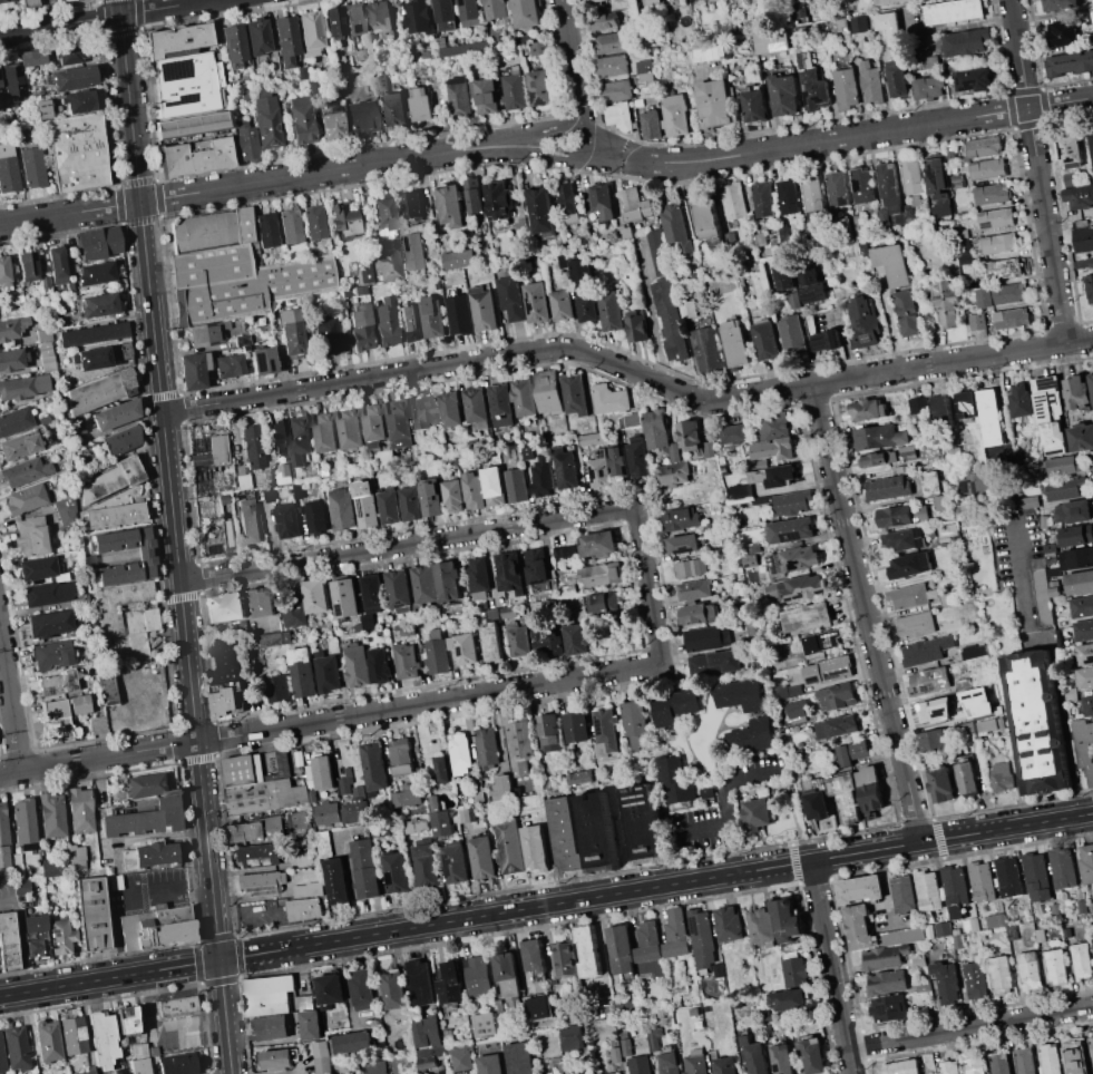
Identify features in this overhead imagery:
building: (4, 0)
building: (61, 0)
building: (699, 0)
building: (849, 0)
building: (595, 1)
building: (652, 1)
building: (889, 1)
building: (28, 3)
building: (1060, 4)
building: (801, 8)
building: (495, 9)
building: (954, 10)
building: (470, 12)
building: (526, 12)
building: (446, 14)
road: (105, 17)
building: (1090, 17)
building: (420, 18)
building: (606, 20)
building: (333, 21)
building: (352, 21)
building: (382, 22)
building: (840, 25)
building: (859, 25)
building: (890, 27)
building: (801, 29)
building: (311, 32)
building: (1064, 32)
building: (257, 37)
building: (177, 40)
building: (286, 40)
building: (525, 40)
building: (441, 41)
building: (611, 41)
building: (777, 41)
building: (965, 42)
building: (233, 45)
building: (538, 47)
building: (463, 48)
building: (72, 53)
building: (709, 53)
building: (358, 55)
building: (426, 55)
building: (411, 57)
building: (32, 58)
road: (569, 59)
building: (804, 59)
building: (931, 61)
building: (1070, 62)
building: (612, 65)
building: (402, 68)
building: (646, 71)
building: (72, 78)
building: (899, 79)
building: (975, 79)
building: (10, 81)
building: (386, 82)
building: (872, 82)
building: (187, 86)
building: (313, 87)
building: (541, 87)
building: (930, 87)
building: (847, 88)
building: (369, 89)
building: (516, 89)
building: (615, 90)
building: (816, 90)
building: (785, 94)
building: (487, 95)
building: (245, 96)
building: (461, 98)
road: (128, 100)
building: (80, 101)
building: (422, 104)
building: (715, 104)
building: (757, 105)
building: (398, 108)
building: (42, 109)
building: (621, 115)
building: (675, 115)
building: (361, 118)
building: (266, 120)
building: (301, 121)
building: (329, 123)
building: (651, 125)
building: (191, 126)
road: (553, 128)
road: (586, 130)
building: (22, 134)
road: (863, 134)
building: (1091, 140)
building: (245, 141)
building: (195, 145)
building: (985, 146)
road: (611, 150)
building: (76, 152)
building: (1071, 152)
road: (562, 154)
building: (953, 157)
building: (192, 158)
building: (31, 168)
building: (988, 168)
building: (8, 170)
road: (1038, 172)
building: (914, 177)
building: (957, 177)
building: (1072, 177)
road: (265, 179)
building: (863, 185)
building: (838, 188)
building: (939, 188)
building: (891, 191)
building: (813, 194)
building: (992, 194)
building: (475, 195)
building: (789, 196)
building: (1079, 197)
building: (500, 199)
building: (764, 199)
building: (734, 201)
building: (569, 203)
building: (603, 204)
building: (414, 205)
building: (451, 205)
building: (635, 205)
building: (543, 211)
building: (384, 213)
building: (910, 215)
building: (709, 216)
building: (885, 217)
building: (996, 218)
building: (343, 219)
building: (674, 219)
building: (313, 222)
building: (291, 226)
building: (860, 226)
building: (266, 231)
building: (625, 233)
building: (960, 234)
building: (732, 236)
building: (785, 236)
building: (762, 238)
building: (1083, 238)
building: (396, 241)
building: (98, 242)
building: (1001, 243)
building: (865, 247)
road: (144, 248)
building: (414, 251)
building: (964, 251)
building: (658, 252)
building: (459, 258)
building: (564, 260)
building: (1085, 262)
building: (894, 264)
building: (56, 265)
building: (27, 266)
building: (387, 266)
building: (1004, 268)
building: (3, 272)
building: (94, 273)
building: (232, 273)
building: (582, 274)
building: (697, 274)
building: (365, 275)
building: (785, 276)
building: (811, 280)
building: (45, 283)
building: (1090, 286)
building: (1001, 294)
building: (511, 297)
building: (793, 300)
building: (537, 302)
building: (946, 303)
building: (98, 304)
building: (562, 304)
building: (588, 306)
building: (484, 309)
building: (687, 309)
building: (612, 310)
building: (907, 312)
building: (461, 314)
building: (432, 316)
building: (1012, 318)
building: (670, 319)
building: (865, 320)
building: (260, 321)
building: (977, 321)
building: (386, 322)
building: (410, 323)
building: (637, 325)
building: (12, 328)
building: (361, 328)
building: (292, 331)
building: (792, 333)
building: (92, 334)
building: (325, 335)
building: (242, 340)
building: (765, 340)
building: (829, 340)
building: (736, 343)
building: (43, 348)
building: (707, 350)
building: (124, 351)
building: (90, 359)
building: (11, 360)
building: (260, 360)
building: (228, 367)
road: (627, 368)
building: (193, 370)
building: (1091, 382)
building: (22, 387)
building: (548, 390)
building: (1076, 391)
building: (99, 392)
building: (575, 393)
building: (525, 397)
building: (609, 399)
building: (1022, 400)
building: (919, 404)
building: (967, 404)
building: (501, 406)
building: (477, 407)
building: (450, 409)
building: (868, 409)
road: (1002, 411)
building: (423, 412)
building: (941, 413)
building: (115, 414)
building: (1051, 414)
building: (990, 418)
building: (632, 419)
building: (14, 420)
building: (42, 420)
building: (399, 423)
building: (374, 424)
building: (71, 428)
building: (351, 428)
building: (656, 429)
building: (325, 431)
building: (925, 431)
building: (733, 433)
building: (690, 436)
building: (879, 437)
building: (1082, 437)
building: (279, 438)
building: (300, 438)
building: (538, 438)
building: (773, 438)
building: (593, 439)
building: (121, 440)
building: (18, 446)
building: (253, 447)
building: (463, 449)
building: (709, 449)
building: (730, 450)
building: (526, 451)
building: (908, 451)
building: (212, 452)
building: (675, 452)
building: (439, 455)
building: (955, 456)
building: (638, 457)
building: (877, 459)
building: (733, 460)
building: (617, 461)
building: (439, 462)
building: (1063, 465)
building: (567, 468)
building: (599, 469)
building: (906, 469)
building: (25, 471)
building: (284, 473)
building: (673, 473)
building: (773, 476)
building: (544, 477)
building: (113, 479)
building: (242, 482)
building: (931, 482)
building: (517, 485)
building: (888, 487)
building: (980, 487)
building: (1064, 488)
building: (496, 489)
building: (300, 490)
building: (474, 490)
building: (739, 492)
building: (271, 495)
building: (452, 496)
building: (430, 497)
building: (26, 499)
building: (222, 500)
building: (943, 501)
building: (1027, 501)
building: (411, 502)
building: (792, 502)
building: (389, 506)
building: (343, 508)
building: (368, 510)
building: (959, 510)
building: (1073, 511)
building: (115, 515)
building: (902, 515)
building: (316, 516)
building: (681, 517)
building: (289, 520)
building: (250, 521)
building: (1044, 521)
building: (47, 525)
building: (791, 530)
building: (226, 534)
building: (1076, 535)
building: (905, 538)
building: (729, 541)
road: (408, 544)
building: (598, 544)
building: (684, 544)
parking lot: (1015, 545)
building: (755, 548)
building: (1051, 551)
building: (567, 553)
building: (145, 557)
building: (1076, 558)
building: (794, 559)
building: (910, 565)
building: (692, 567)
building: (538, 568)
building: (41, 569)
building: (509, 570)
building: (1053, 572)
building: (602, 574)
building: (478, 577)
building: (449, 580)
building: (1080, 582)
building: (426, 584)
road: (648, 584)
building: (803, 587)
building: (399, 589)
building: (694, 590)
building: (977, 590)
building: (373, 593)
building: (41, 595)
building: (316, 595)
building: (910, 595)
building: (347, 596)
building: (1044, 596)
building: (79, 597)
building: (947, 597)
building: (262, 603)
building: (598, 603)
building: (1082, 606)
building: (226, 607)
building: (294, 609)
building: (509, 612)
building: (692, 614)
road: (867, 614)
building: (127, 615)
building: (806, 616)
building: (369, 621)
building: (1062, 622)
building: (49, 624)
building: (915, 624)
building: (409, 628)
building: (751, 629)
building: (1083, 629)
building: (383, 636)
building: (707, 638)
building: (271, 639)
building: (518, 639)
building: (577, 639)
building: (492, 641)
building: (821, 641)
building: (450, 643)
building: (548, 644)
building: (466, 647)
building: (927, 650)
building: (974, 651)
building: (1085, 653)
building: (50, 654)
building: (437, 654)
building: (227, 658)
road: (1053, 658)
building: (407, 661)
building: (715, 662)
building: (790, 662)
building: (358, 664)
building: (380, 668)
building: (829, 670)
building: (303, 672)
building: (328, 672)
building: (1085, 677)
building: (929, 681)
building: (59, 682)
road: (188, 684)
building: (964, 684)
building: (107, 685)
building: (276, 689)
building: (992, 689)
building: (787, 690)
building: (1071, 694)
building: (741, 695)
building: (838, 696)
building: (230, 697)
building: (976, 702)
building: (78, 704)
building: (1087, 704)
building: (676, 706)
road: (10, 707)
building: (797, 709)
building: (935, 710)
road: (330, 719)
building: (58, 722)
building: (1037, 722)
building: (636, 723)
building: (1002, 723)
building: (97, 725)
building: (988, 725)
building: (577, 726)
building: (837, 726)
building: (965, 729)
road: (420, 730)
building: (606, 731)
building: (549, 732)
building: (752, 736)
building: (933, 740)
building: (521, 745)
building: (487, 749)
building: (1084, 749)
road: (271, 750)
building: (852, 753)
building: (461, 754)
building: (401, 756)
building: (375, 767)
building: (442, 770)
building: (321, 772)
building: (967, 777)
building: (1002, 777)
building: (582, 778)
building: (676, 780)
building: (347, 781)
building: (941, 783)
building: (146, 785)
building: (257, 787)
building: (502, 788)
building: (870, 789)
building: (707, 792)
building: (408, 794)
road: (723, 797)
building: (846, 797)
building: (533, 801)
building: (817, 801)
building: (357, 807)
building: (80, 810)
building: (328, 812)
building: (468, 813)
road: (793, 813)
building: (51, 814)
building: (757, 814)
building: (145, 819)
building: (439, 819)
building: (23, 823)
building: (645, 823)
building: (380, 828)
building: (258, 830)
building: (598, 832)
building: (563, 834)
building: (3, 840)
building: (325, 843)
building: (509, 846)
building: (536, 849)
road: (549, 855)
building: (149, 856)
building: (260, 856)
building: (76, 857)
building: (482, 858)
building: (456, 862)
building: (1086, 863)
building: (426, 866)
building: (1063, 867)
building: (365, 868)
building: (50, 869)
building: (397, 873)
building: (1008, 876)
building: (1036, 876)
building: (336, 881)
building: (982, 881)
building: (264, 882)
building: (21, 888)
building: (47, 888)
road: (162, 888)
building: (310, 889)
building: (860, 889)
building: (929, 890)
building: (955, 890)
building: (904, 895)
road: (546, 905)
building: (1083, 906)
road: (266, 908)
building: (304, 908)
building: (1055, 910)
building: (90, 912)
building: (1028, 914)
building: (787, 919)
building: (996, 920)
building: (975, 924)
building: (730, 925)
building: (859, 926)
building: (156, 927)
building: (763, 927)
building: (945, 929)
building: (1014, 933)
building: (1067, 933)
building: (676, 934)
building: (701, 934)
building: (1041, 935)
building: (35, 936)
building: (60, 936)
building: (901, 936)
building: (1092, 936)
road: (17, 939)
building: (958, 941)
building: (7, 943)
building: (622, 948)
building: (650, 949)
building: (588, 951)
building: (535, 955)
building: (885, 957)
building: (566, 958)
traffic signals: (218, 959)
building: (919, 960)
building: (1082, 960)
road: (832, 966)
building: (1057, 966)
building: (719, 970)
building: (794, 970)
building: (1029, 970)
building: (508, 974)
building: (478, 975)
building: (1002, 975)
building: (976, 979)
road: (348, 982)
building: (887, 982)
building: (422, 983)
building: (944, 983)
building: (451, 984)
building: (331, 989)
building: (363, 989)
building: (396, 992)
building: (270, 995)
building: (306, 998)
building: (789, 1000)
building: (177, 1006)
building: (889, 1007)
building: (625, 1008)
building: (707, 1008)
building: (608, 1010)
building: (768, 1014)
building: (127, 1019)
building: (544, 1022)
building: (484, 1024)
building: (313, 1025)
building: (271, 1027)
road: (970, 1027)
building: (767, 1028)
road: (160, 1029)
building: (429, 1033)
building: (72, 1035)
building: (573, 1035)
building: (450, 1036)
building: (655, 1038)
building: (103, 1039)
building: (47, 1042)
building: (354, 1042)
building: (1091, 1044)
building: (626, 1046)
building: (463, 1047)
building: (16, 1048)
building: (616, 1054)
building: (753, 1055)
building: (813, 1056)
building: (1075, 1056)
building: (2, 1058)
building: (520, 1058)
building: (1051, 1058)
building: (277, 1060)
building: (782, 1060)
building: (462, 1061)
building: (1025, 1061)
building: (696, 1062)
building: (429, 1063)
building: (670, 1063)
building: (999, 1063)
building: (176, 1064)
building: (323, 1064)
building: (490, 1064)
building: (726, 1065)
building: (975, 1065)
building: (138, 1066)
building: (375, 1067)
building: (900, 1067)
building: (949, 1067)
building: (89, 1068)
building: (82, 1072)
road: (285, 1072)
building: (445, 1072)
building: (642, 1072)
building: (615, 1073)

